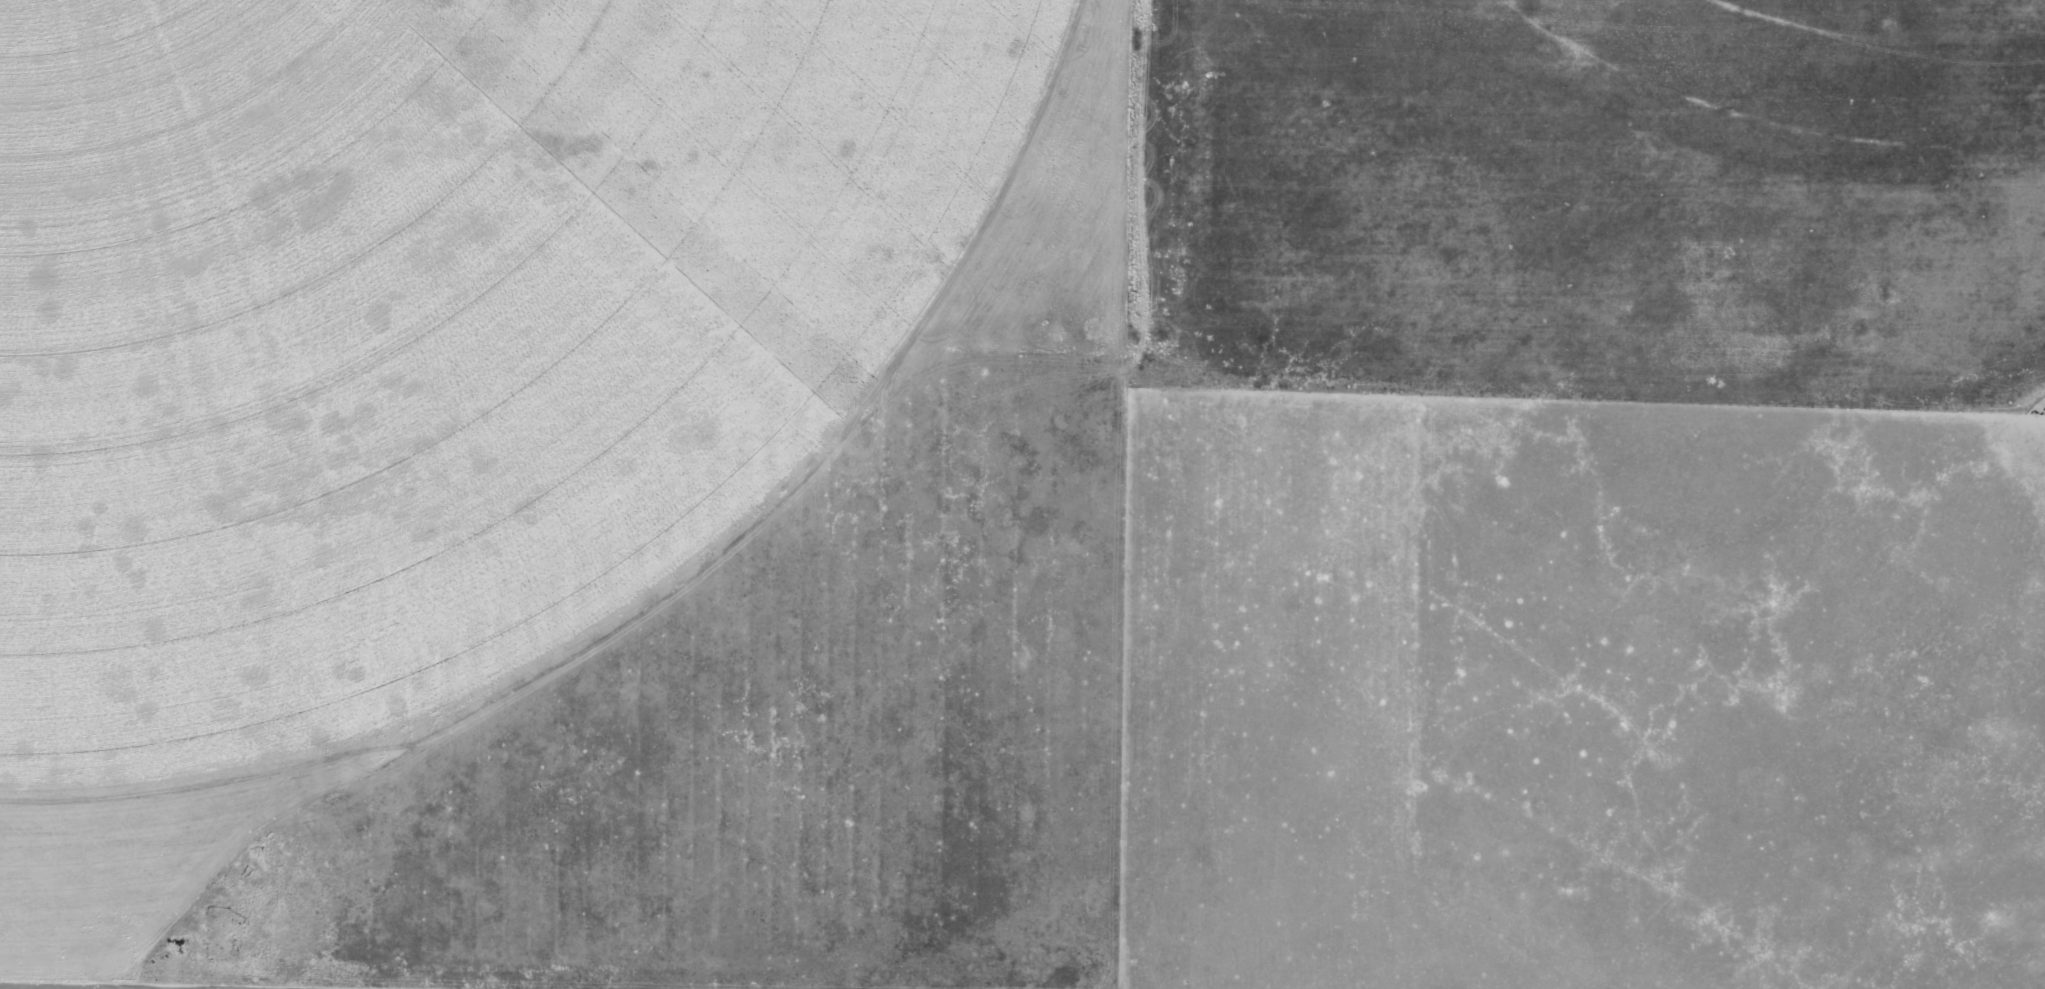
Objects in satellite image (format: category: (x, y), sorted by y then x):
road: (653, 198)

